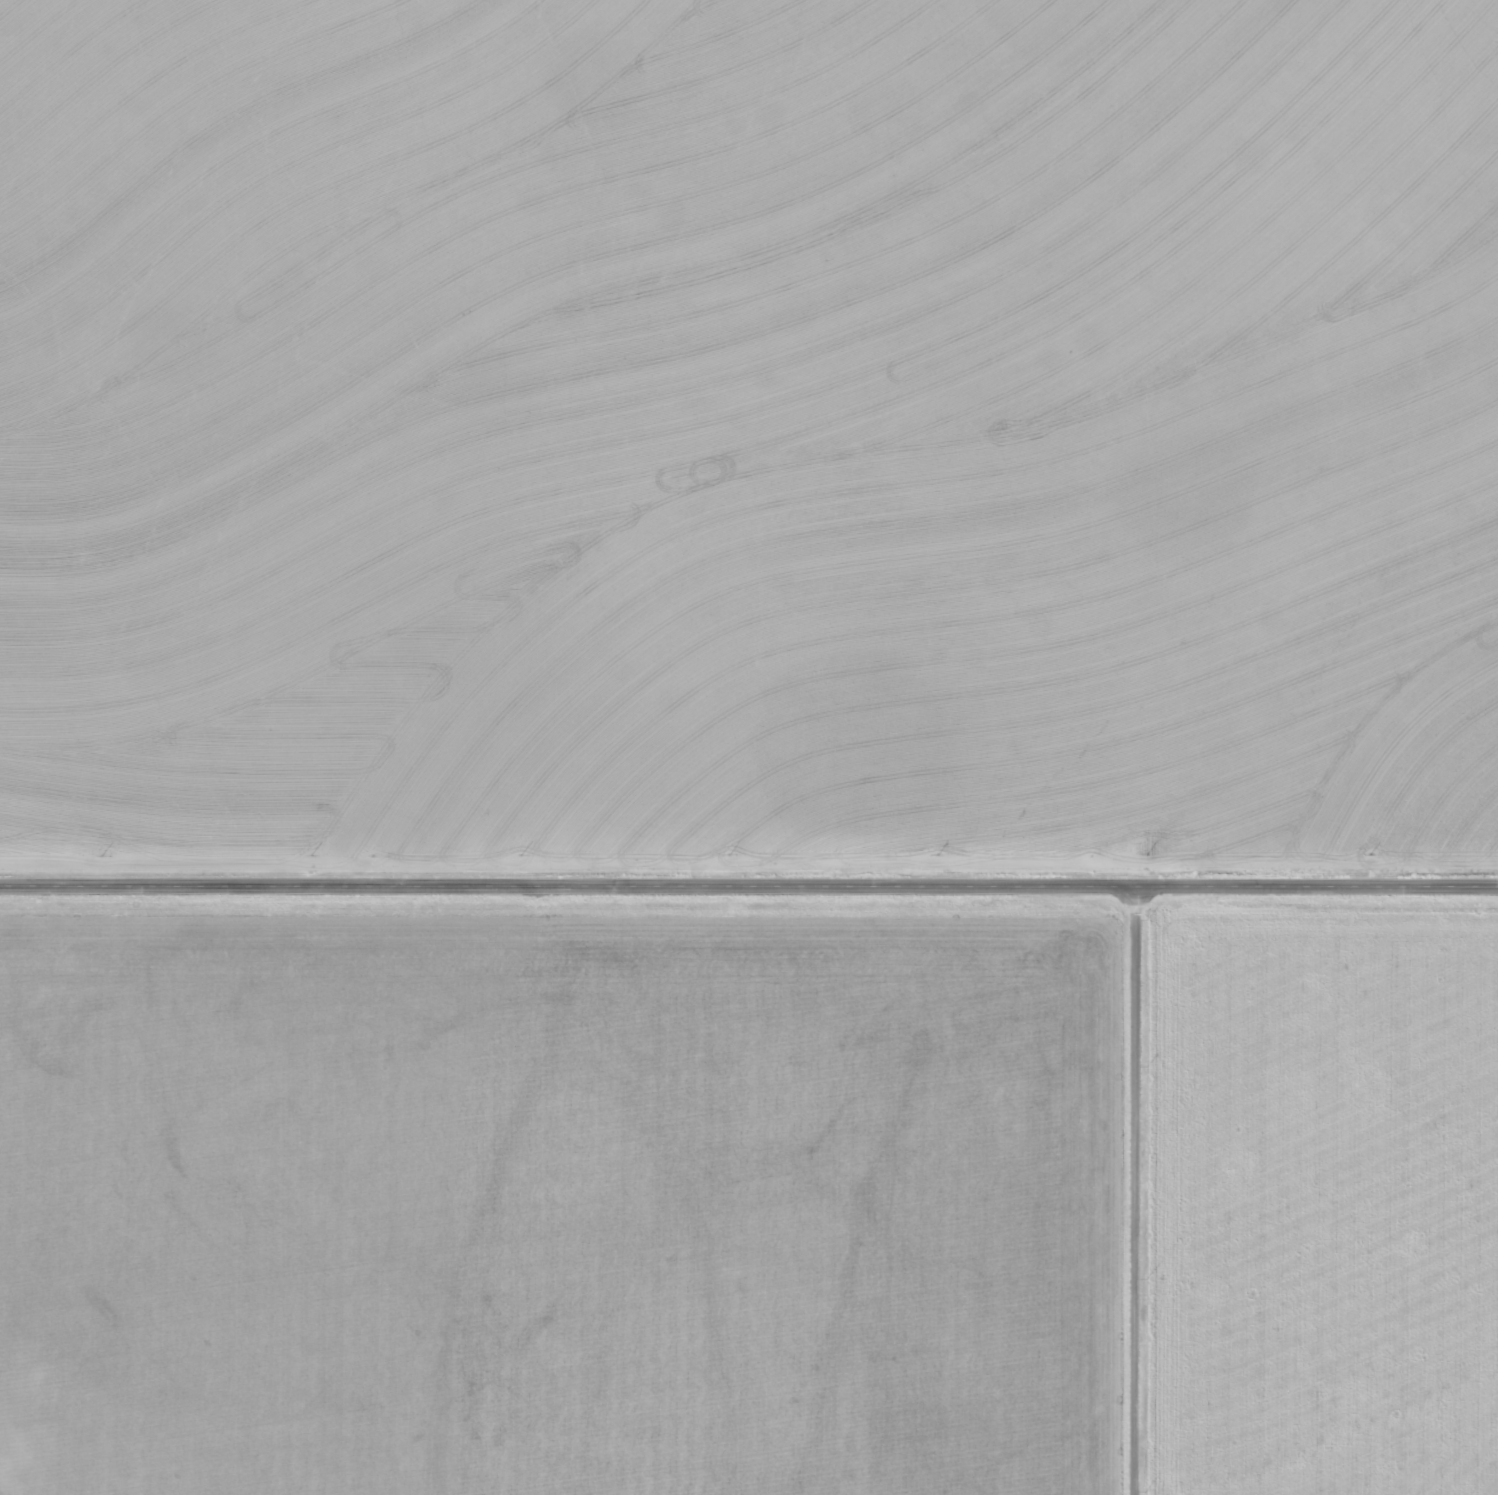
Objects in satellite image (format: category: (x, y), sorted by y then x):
road: (749, 887)
road: (1164, 1180)

